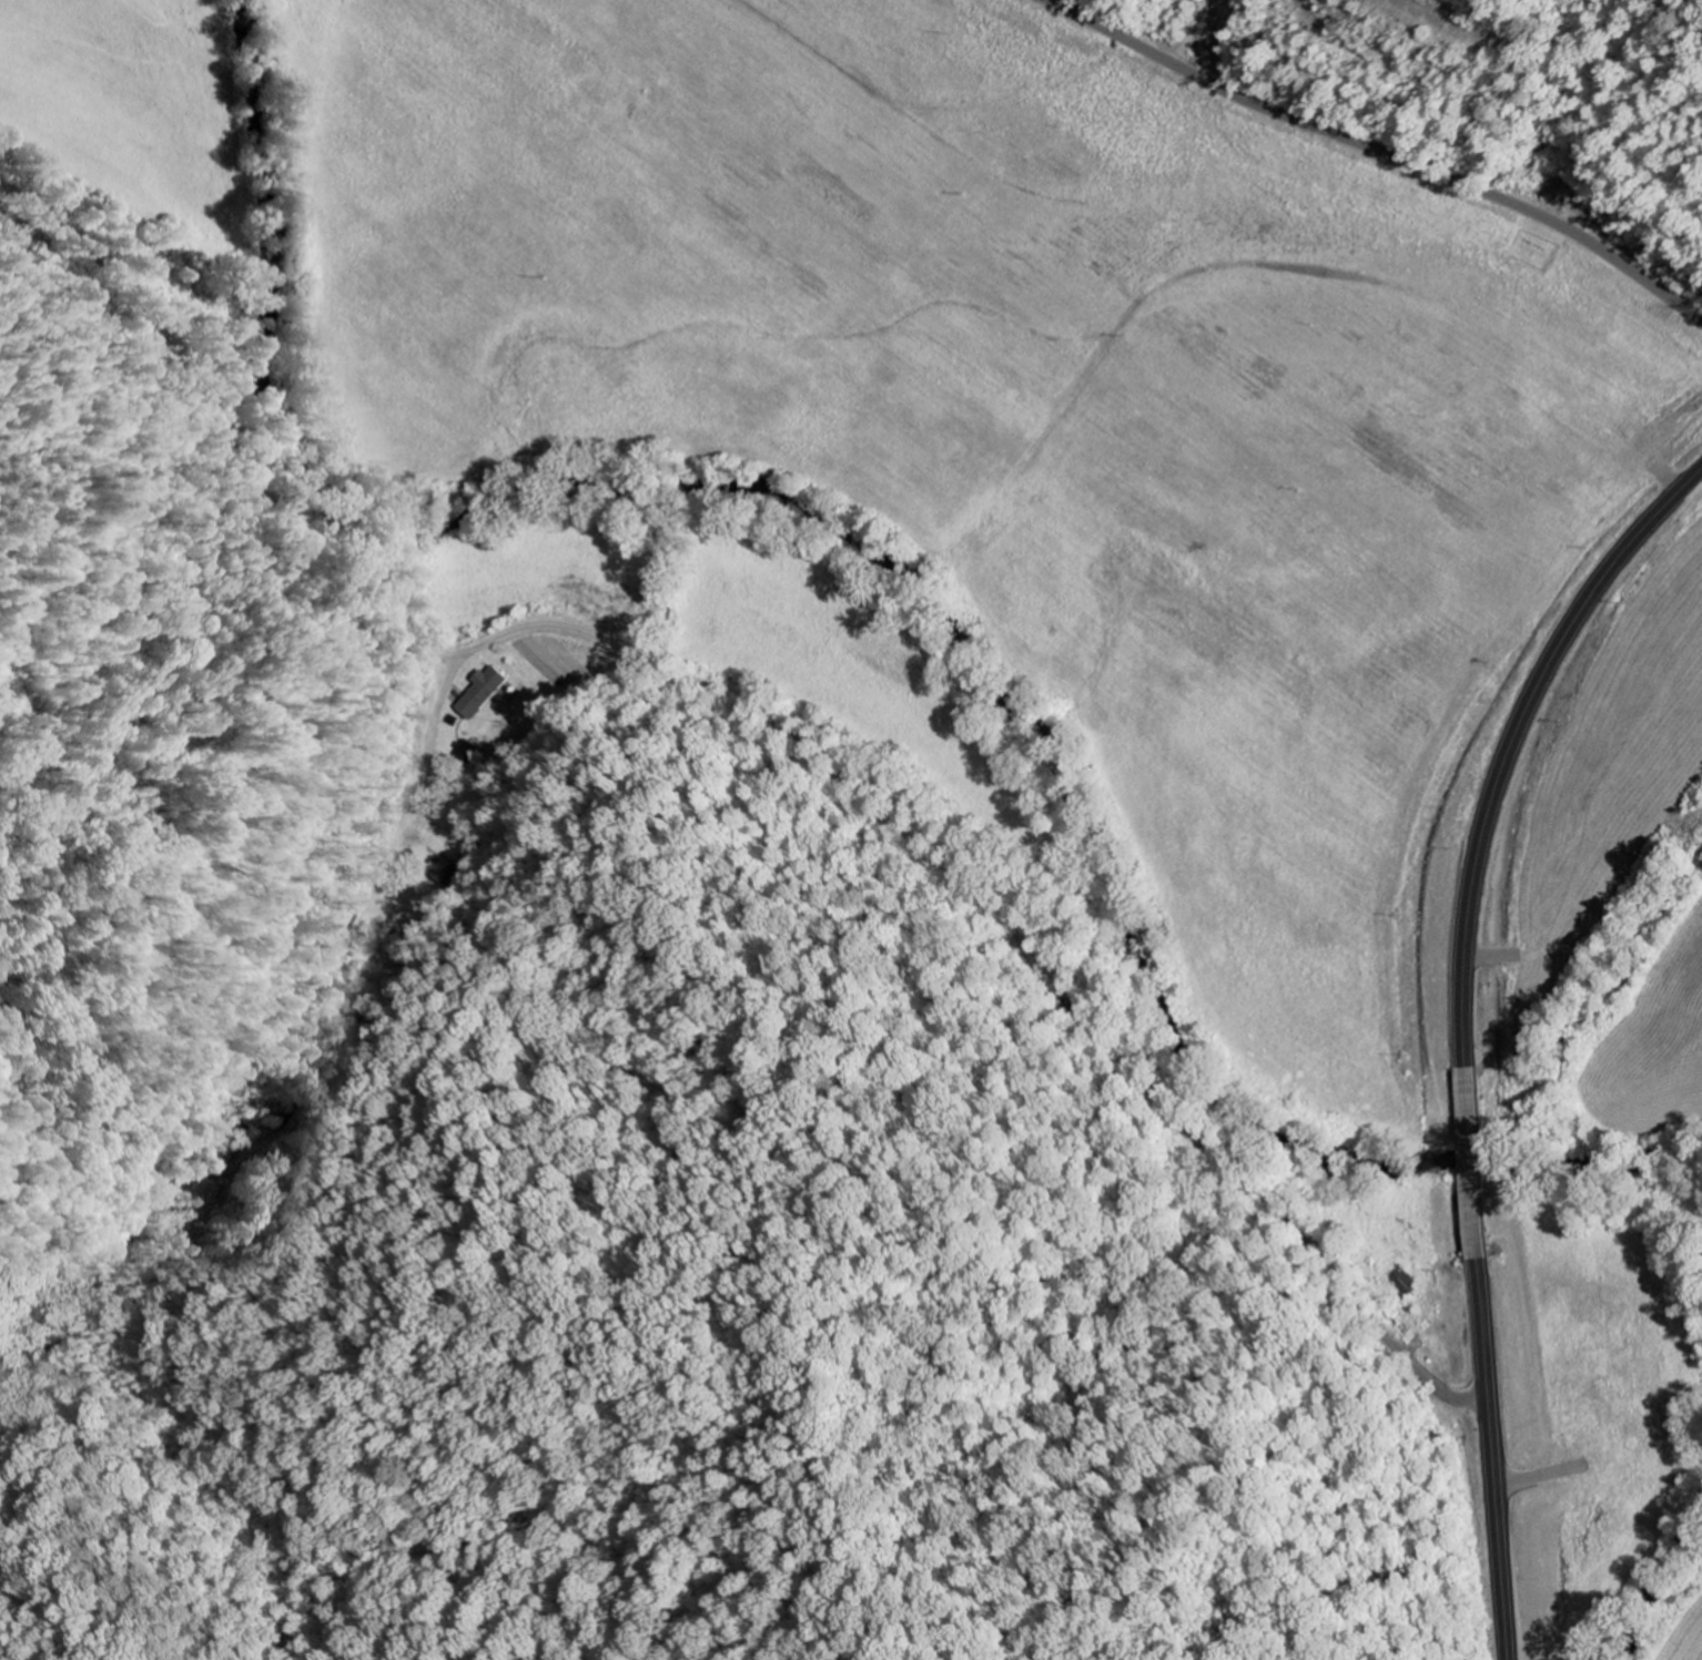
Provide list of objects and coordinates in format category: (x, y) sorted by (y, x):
road: (1380, 151)
building: (483, 693)
road: (774, 712)
building: (466, 754)
road: (424, 761)
building: (439, 873)
road: (1460, 1032)

